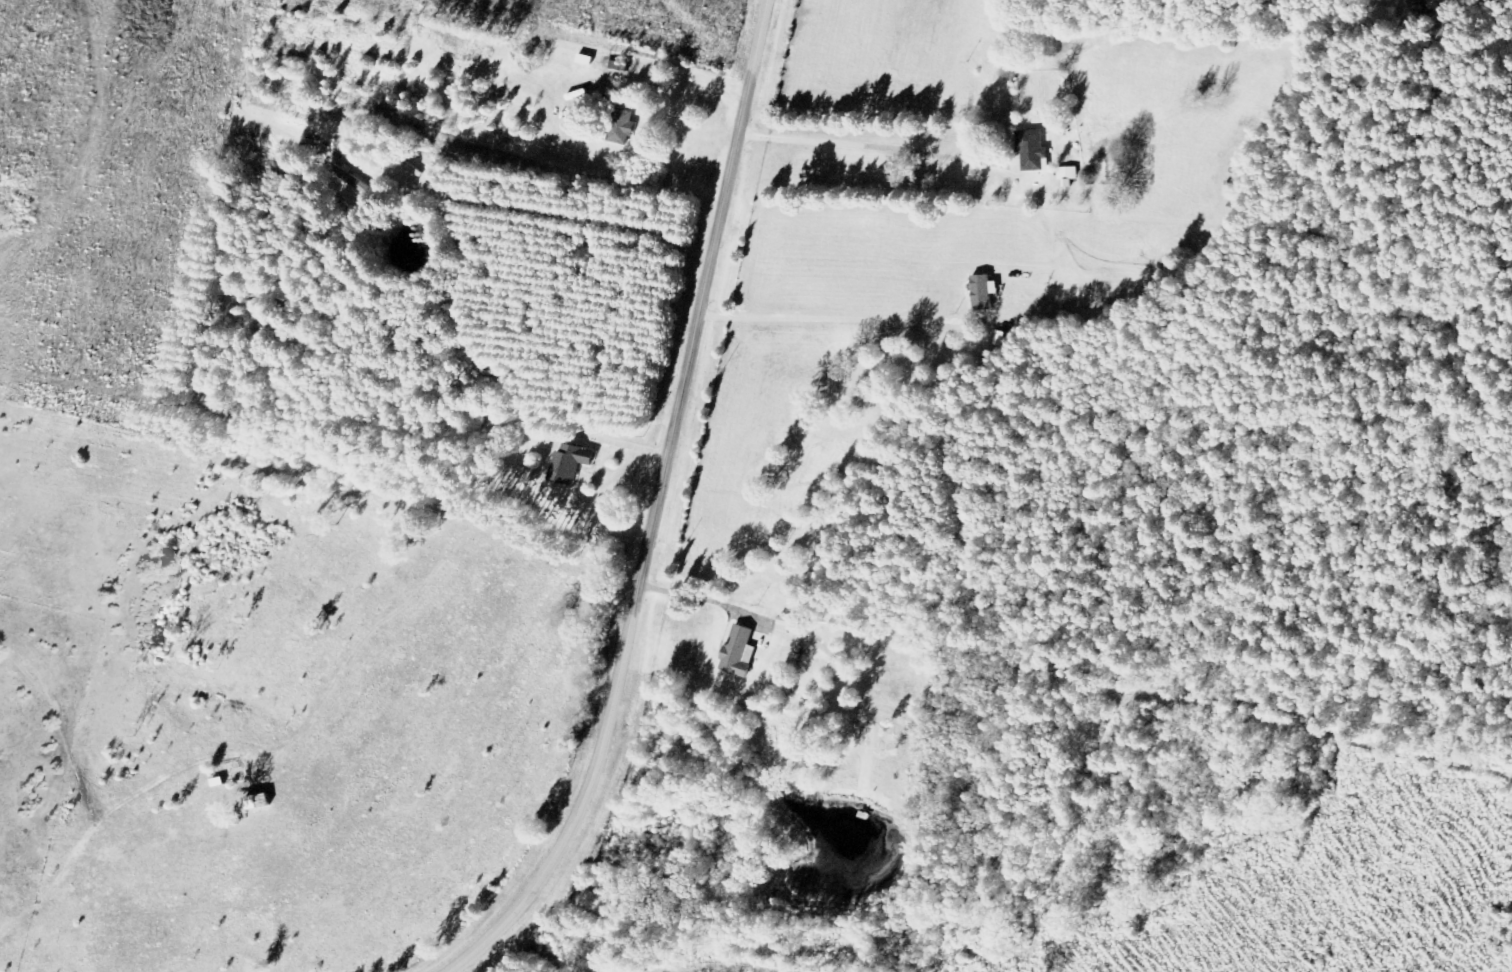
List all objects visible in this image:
building: (627, 126)
building: (1031, 149)
road: (877, 151)
building: (1073, 173)
building: (351, 182)
building: (991, 293)
building: (575, 463)
road: (653, 510)
building: (746, 652)
building: (266, 803)

